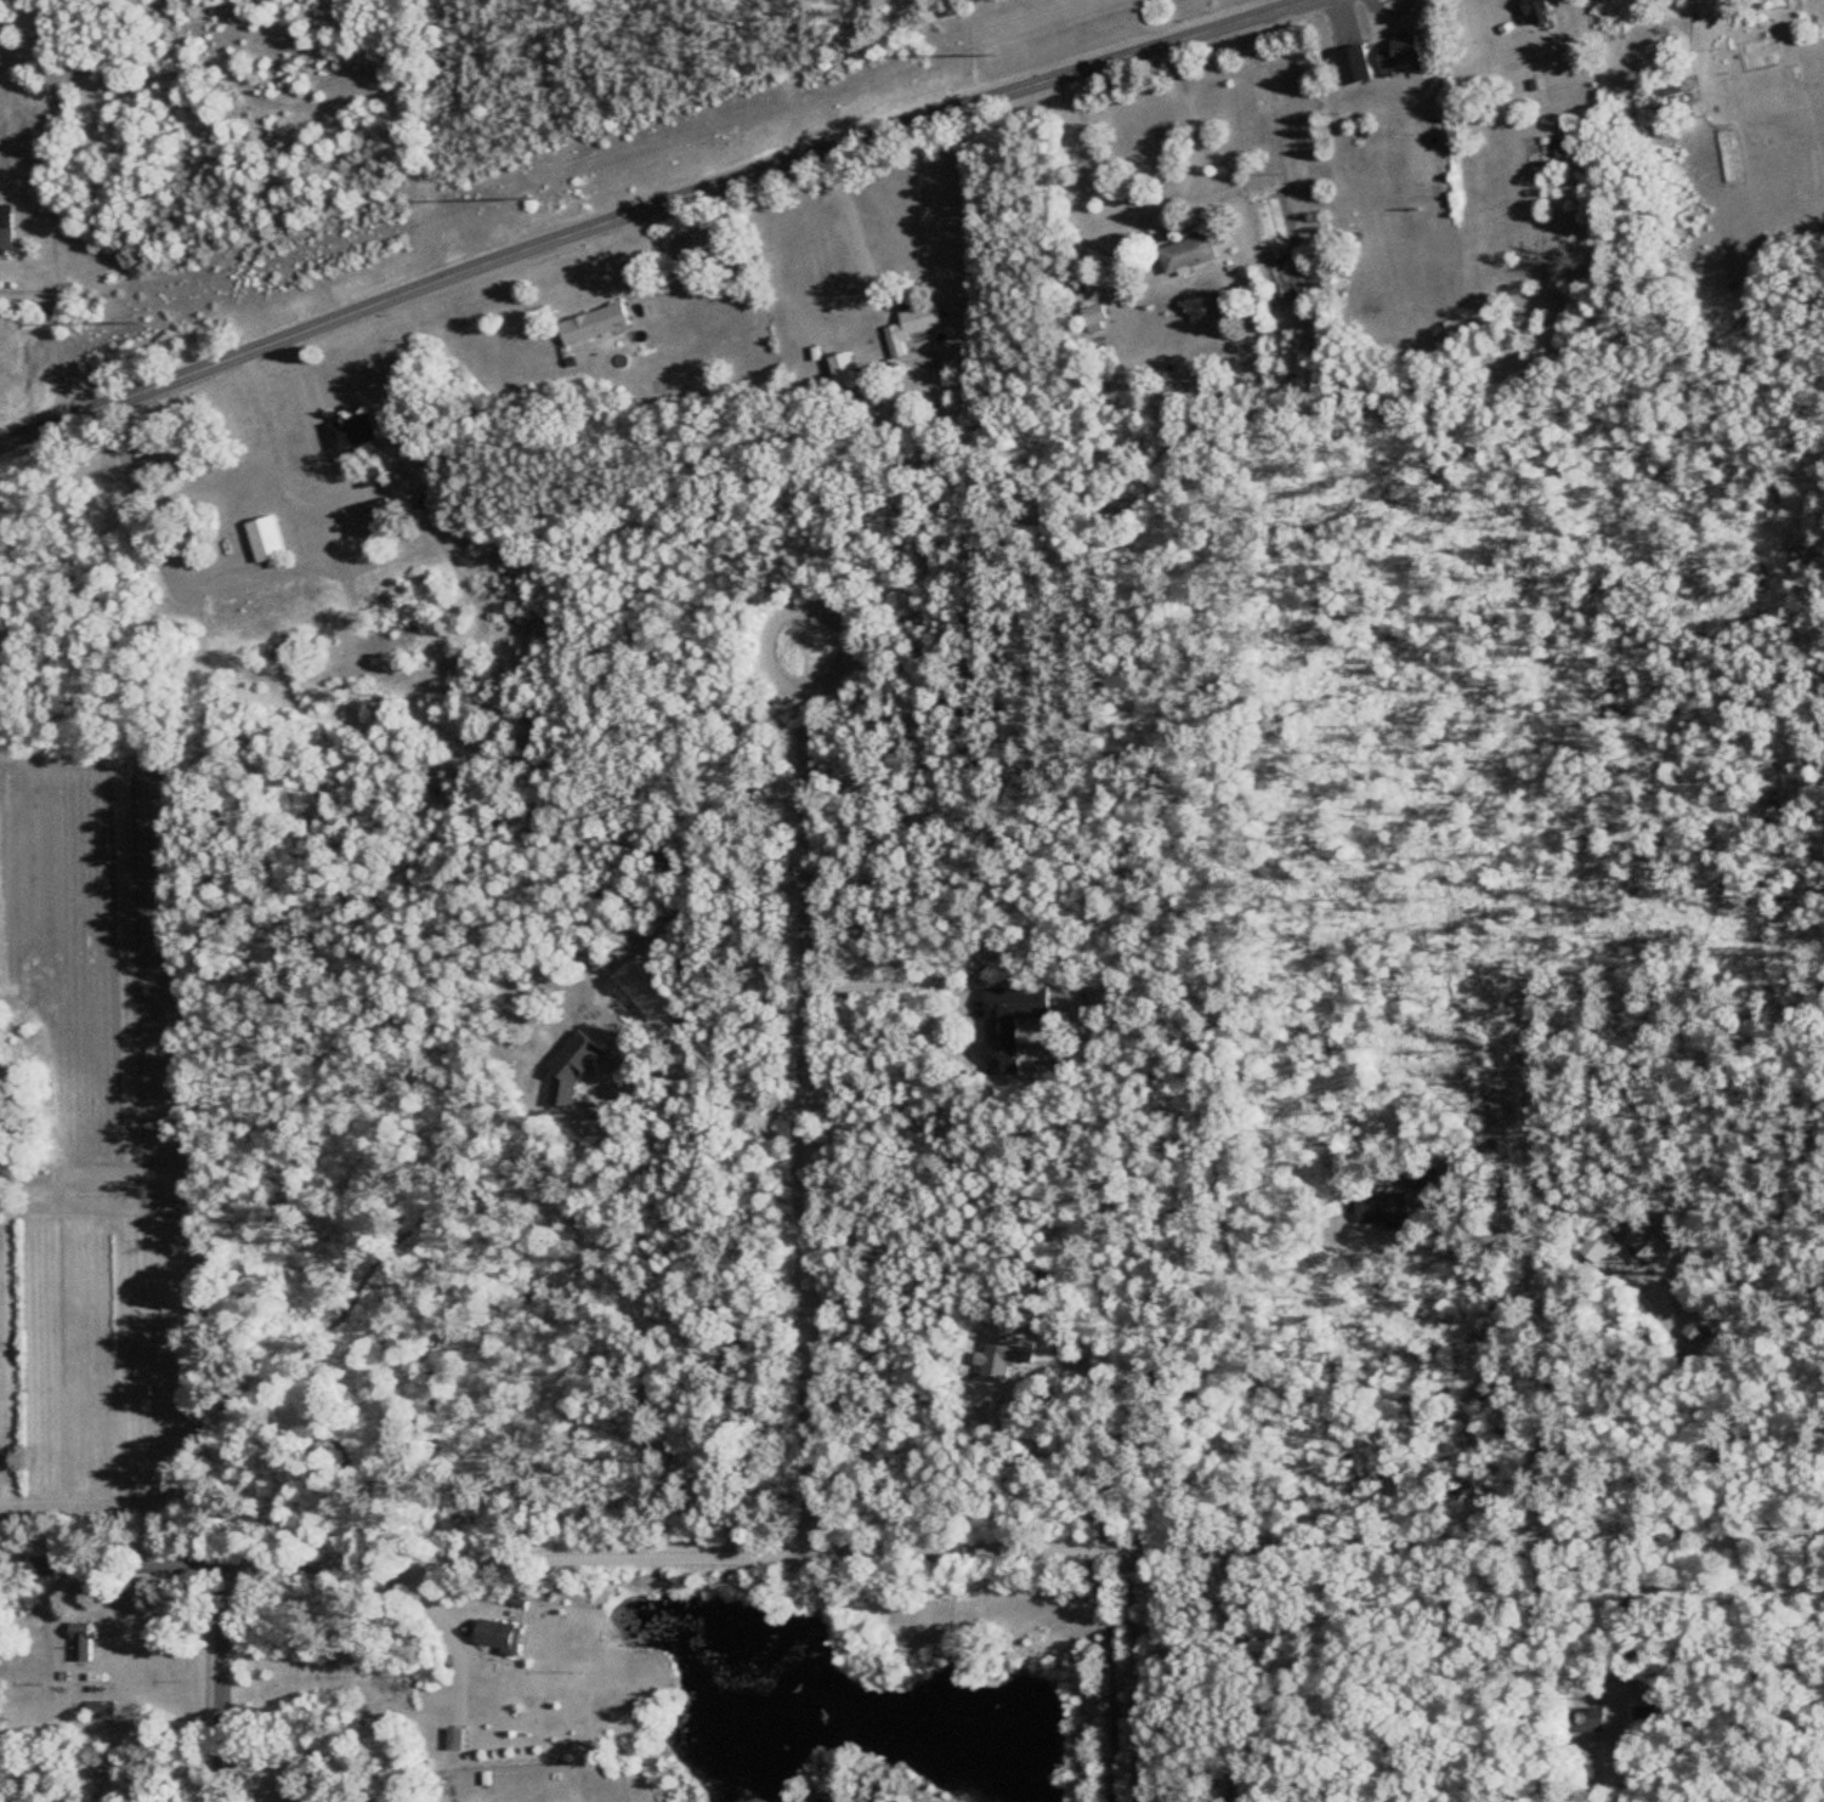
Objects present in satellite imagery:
building: (1694, 0)
building: (1534, 12)
power tower: (990, 53)
building: (1398, 53)
road: (1160, 191)
power tower: (537, 198)
road: (854, 211)
road: (641, 212)
building: (5, 240)
building: (1188, 256)
building: (1094, 317)
power tower: (143, 322)
building: (593, 324)
road: (60, 327)
building: (911, 327)
building: (844, 372)
building: (350, 432)
road: (317, 487)
building: (265, 543)
road: (891, 982)
road: (801, 984)
building: (1010, 1022)
road: (698, 1072)
building: (1414, 1181)
building: (1381, 1208)
building: (1615, 1218)
building: (1594, 1247)
building: (1645, 1252)
building: (1695, 1330)
road: (1551, 1338)
road: (912, 1542)
building: (494, 1638)
building: (78, 1643)
road: (1557, 1657)
road: (453, 1665)
road: (1080, 1668)
road: (1222, 1668)
road: (215, 1674)
building: (96, 1711)
building: (1644, 1715)
building: (1586, 1722)
building: (452, 1740)

